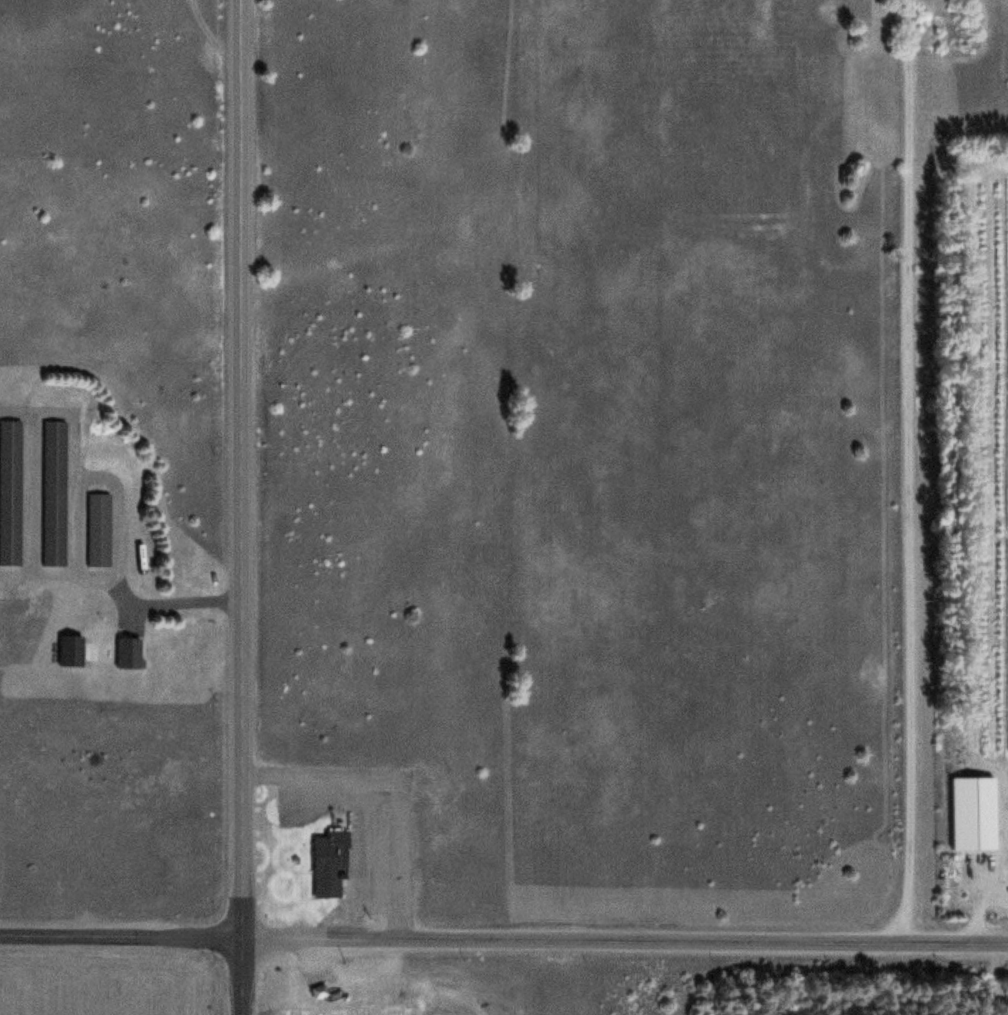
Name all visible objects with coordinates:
road: (215, 38)
road: (956, 126)
road: (73, 472)
road: (907, 472)
building: (9, 486)
road: (28, 489)
building: (52, 490)
road: (240, 507)
road: (72, 523)
building: (96, 525)
road: (56, 571)
road: (165, 600)
building: (125, 648)
road: (365, 807)
parking lot: (359, 827)
building: (331, 861)
road: (504, 938)

